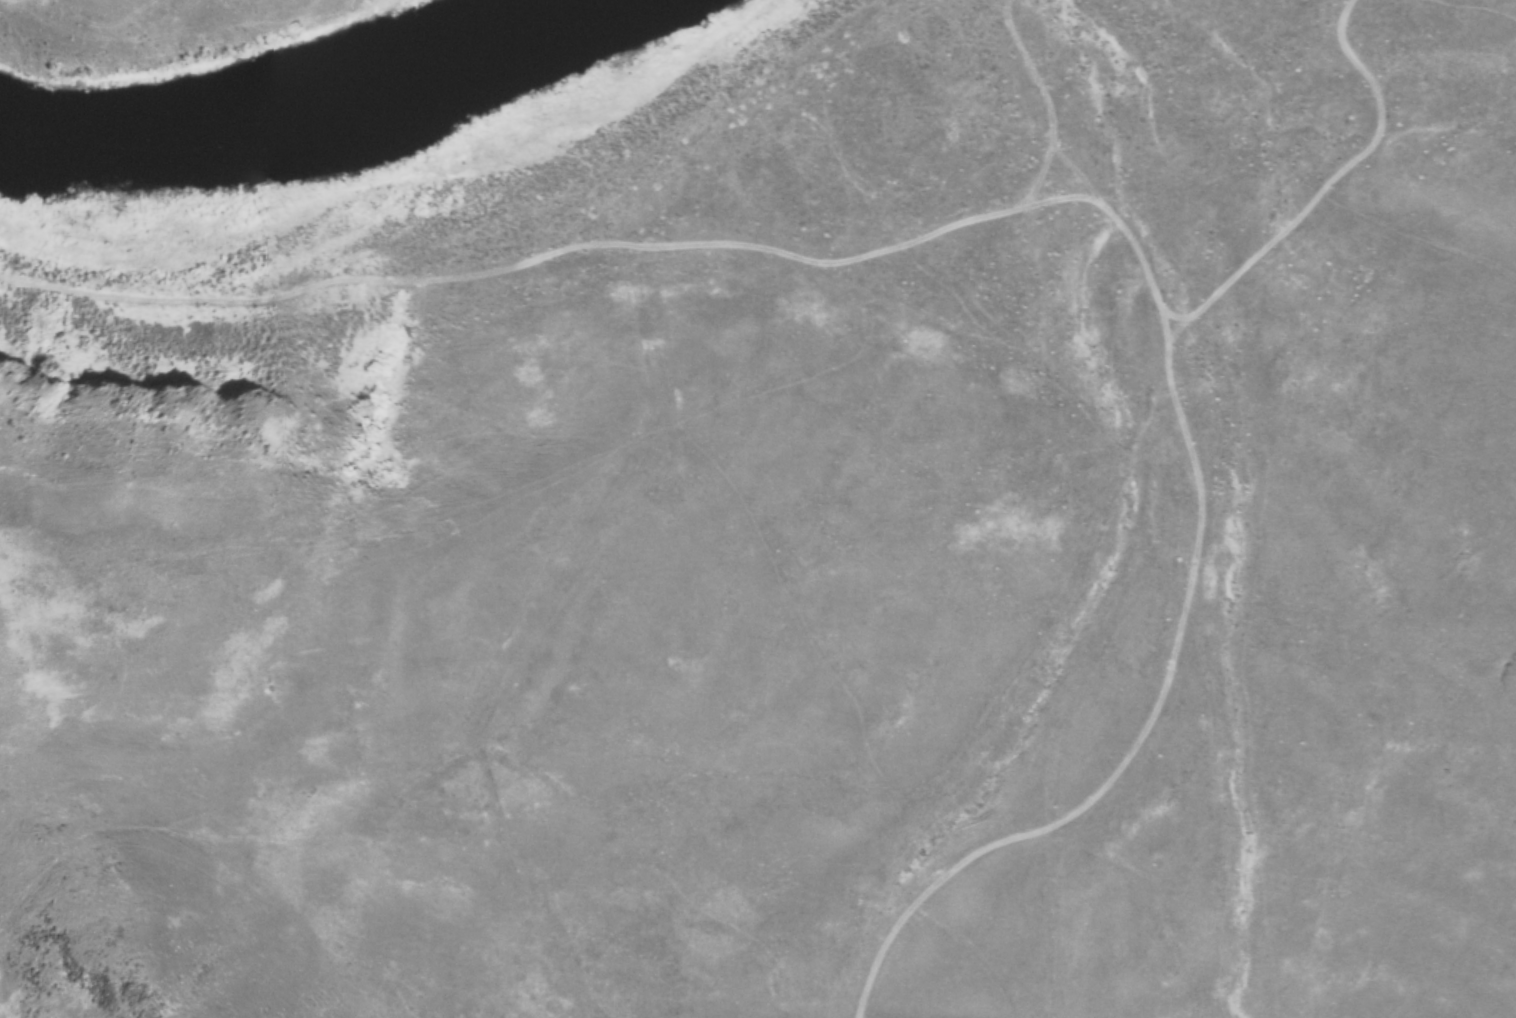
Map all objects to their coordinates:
river: (288, 120)
road: (833, 261)

